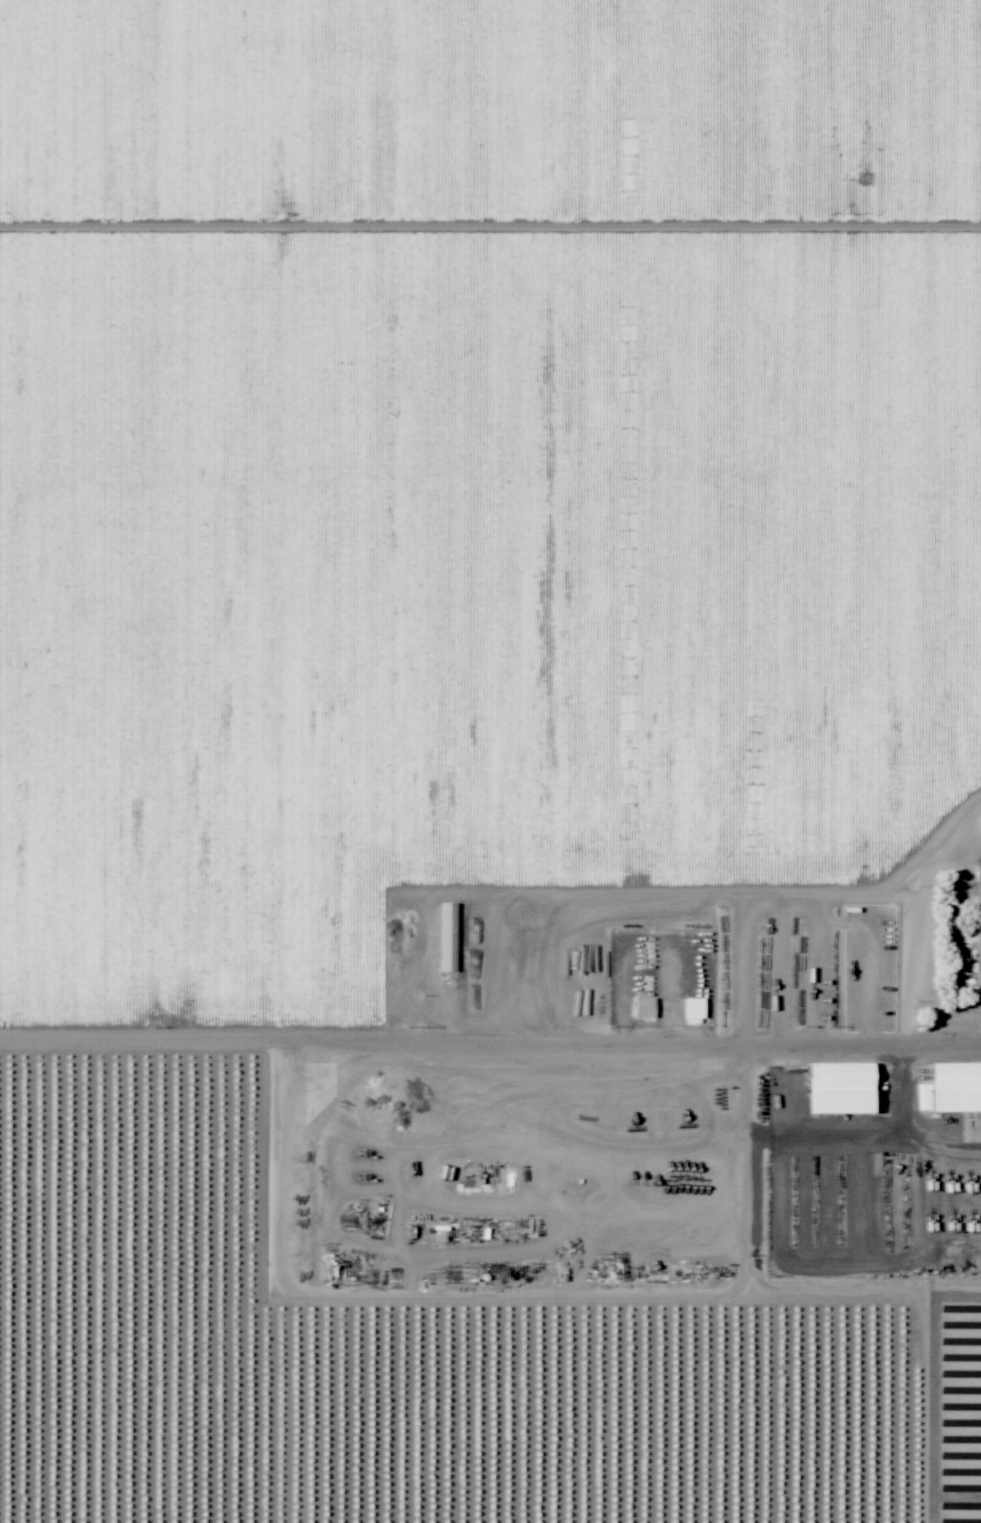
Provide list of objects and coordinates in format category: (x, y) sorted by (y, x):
crop: (448, 444)
crop: (712, 893)
crop: (175, 1045)
road: (490, 1045)
crop: (659, 1045)
building: (949, 1084)
building: (834, 1085)
crop: (491, 1289)

